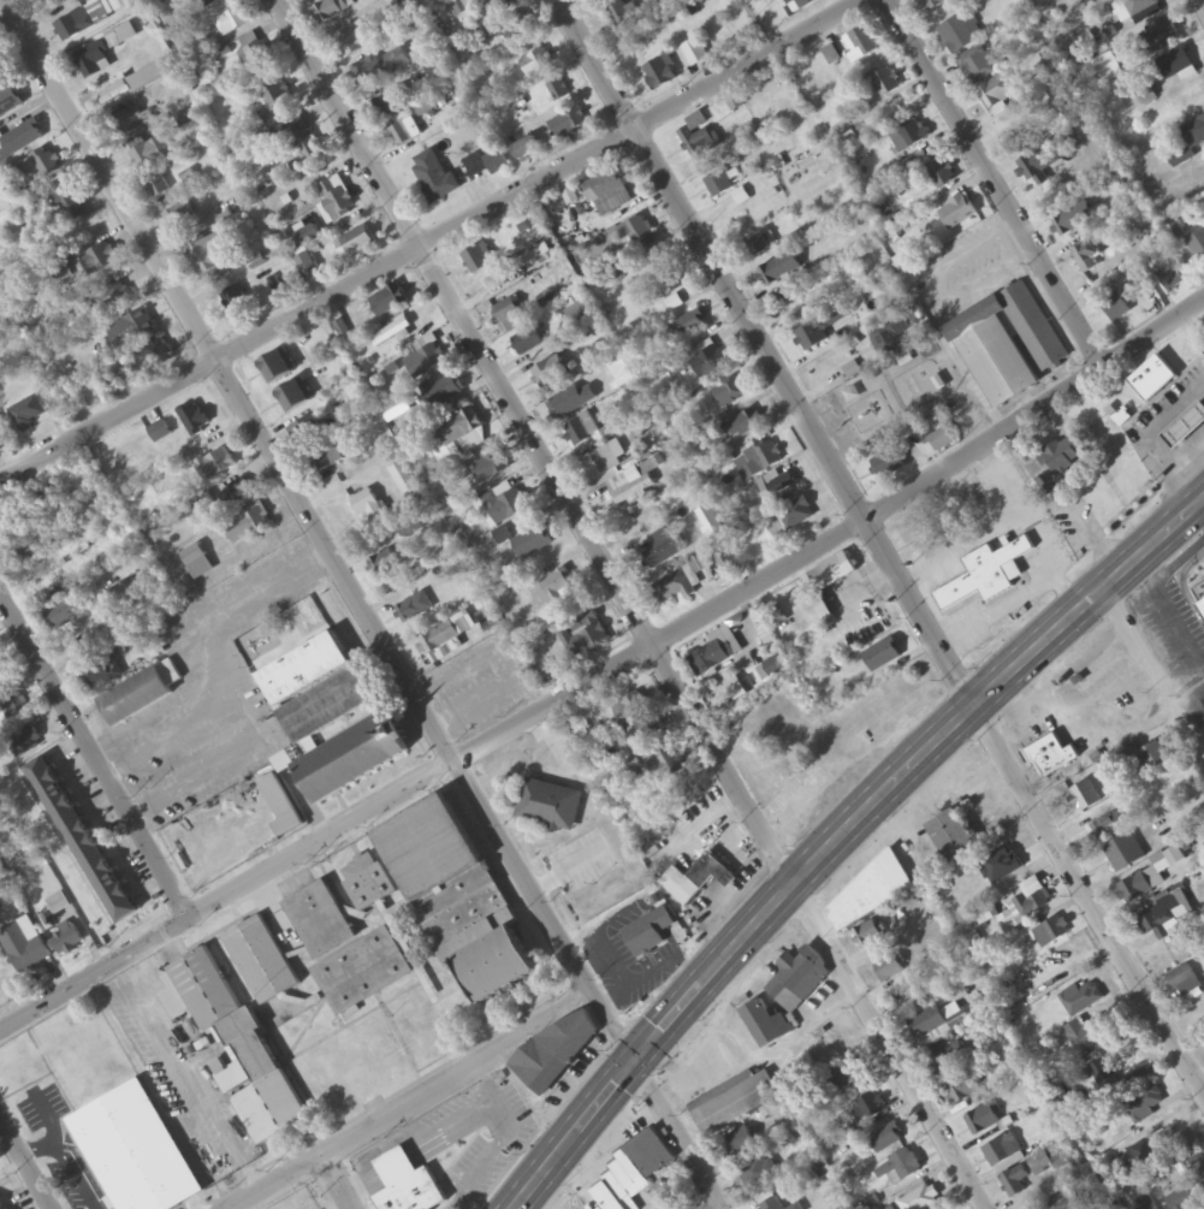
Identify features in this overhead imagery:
building: (210, 2)
building: (800, 5)
building: (933, 5)
building: (333, 10)
building: (1143, 10)
building: (233, 23)
building: (81, 24)
building: (517, 30)
building: (961, 34)
building: (120, 36)
building: (1158, 40)
building: (352, 41)
building: (860, 46)
building: (251, 52)
building: (693, 55)
building: (91, 60)
building: (540, 65)
building: (1175, 65)
building: (977, 67)
building: (381, 69)
building: (660, 75)
building: (152, 76)
building: (882, 85)
building: (558, 93)
building: (114, 94)
building: (1000, 95)
building: (275, 96)
building: (1067, 96)
building: (10, 102)
building: (385, 107)
building: (130, 124)
building: (569, 126)
building: (1194, 134)
building: (404, 135)
building: (912, 135)
building: (699, 137)
building: (22, 141)
building: (306, 148)
building: (526, 152)
building: (149, 155)
building: (488, 164)
building: (42, 165)
building: (1037, 166)
building: (941, 174)
building: (434, 177)
road: (995, 180)
building: (718, 185)
building: (158, 188)
building: (607, 195)
building: (337, 202)
building: (66, 203)
building: (957, 214)
building: (1074, 220)
building: (637, 236)
building: (310, 237)
road: (420, 238)
building: (358, 242)
building: (759, 245)
building: (209, 256)
building: (1087, 256)
building: (534, 259)
building: (100, 261)
building: (478, 262)
building: (781, 271)
building: (664, 277)
building: (1170, 280)
building: (113, 297)
building: (235, 302)
building: (387, 302)
building: (1115, 307)
building: (509, 312)
building: (141, 326)
building: (687, 328)
building: (890, 332)
building: (393, 337)
building: (813, 338)
building: (527, 344)
building: (1008, 346)
building: (423, 361)
building: (711, 362)
building: (277, 368)
building: (621, 372)
building: (551, 375)
building: (1153, 380)
building: (444, 391)
building: (728, 395)
building: (293, 397)
building: (568, 404)
building: (28, 414)
building: (194, 420)
building: (745, 425)
building: (459, 427)
building: (307, 429)
building: (1186, 429)
building: (160, 432)
building: (582, 432)
building: (2, 437)
building: (942, 439)
building: (326, 457)
building: (606, 461)
building: (763, 461)
building: (889, 463)
building: (1056, 463)
building: (217, 464)
building: (491, 468)
building: (404, 478)
building: (629, 488)
building: (236, 496)
building: (505, 503)
building: (370, 510)
building: (796, 515)
building: (248, 523)
building: (712, 525)
road: (838, 540)
road: (877, 541)
building: (533, 544)
building: (663, 550)
building: (31, 551)
building: (197, 562)
building: (384, 564)
building: (834, 573)
building: (987, 574)
building: (557, 586)
building: (672, 588)
road: (633, 603)
road: (366, 604)
building: (1202, 608)
building: (414, 609)
building: (824, 611)
building: (63, 616)
building: (586, 638)
building: (440, 641)
building: (84, 647)
building: (883, 656)
building: (711, 657)
road: (748, 657)
building: (306, 670)
building: (777, 670)
road: (1153, 672)
building: (102, 674)
building: (1, 677)
building: (141, 694)
building: (1203, 701)
building: (328, 706)
building: (633, 707)
building: (12, 710)
building: (642, 733)
building: (859, 736)
building: (23, 739)
building: (1051, 757)
building: (354, 758)
road: (93, 759)
building: (1151, 759)
building: (668, 768)
building: (1084, 798)
building: (281, 806)
building: (550, 806)
building: (1107, 828)
road: (843, 836)
building: (82, 841)
building: (949, 841)
building: (429, 847)
building: (1125, 853)
building: (696, 881)
building: (368, 882)
building: (146, 883)
building: (1141, 885)
building: (877, 890)
road: (229, 894)
building: (1025, 911)
building: (1168, 918)
building: (321, 921)
building: (1051, 932)
building: (648, 934)
building: (868, 935)
building: (67, 940)
building: (24, 946)
building: (262, 961)
building: (427, 965)
building: (891, 967)
building: (799, 979)
building: (1184, 982)
building: (909, 1000)
building: (1080, 1000)
building: (766, 1025)
building: (930, 1027)
building: (1086, 1035)
building: (236, 1049)
building: (559, 1050)
traffic signals: (639, 1061)
building: (948, 1061)
building: (850, 1078)
building: (969, 1085)
road: (415, 1100)
building: (734, 1103)
building: (1145, 1103)
building: (870, 1107)
building: (983, 1121)
building: (884, 1140)
building: (737, 1145)
building: (136, 1151)
building: (898, 1168)
road: (23, 1169)
building: (635, 1172)
building: (758, 1173)
building: (1016, 1183)
building: (1191, 1187)
building: (1091, 1190)
building: (413, 1195)
building: (666, 1197)
building: (921, 1199)
building: (1145, 1203)
building: (1, 1204)
building: (772, 1204)
building: (1064, 1204)
road: (722, 1207)
building: (796, 1207)

